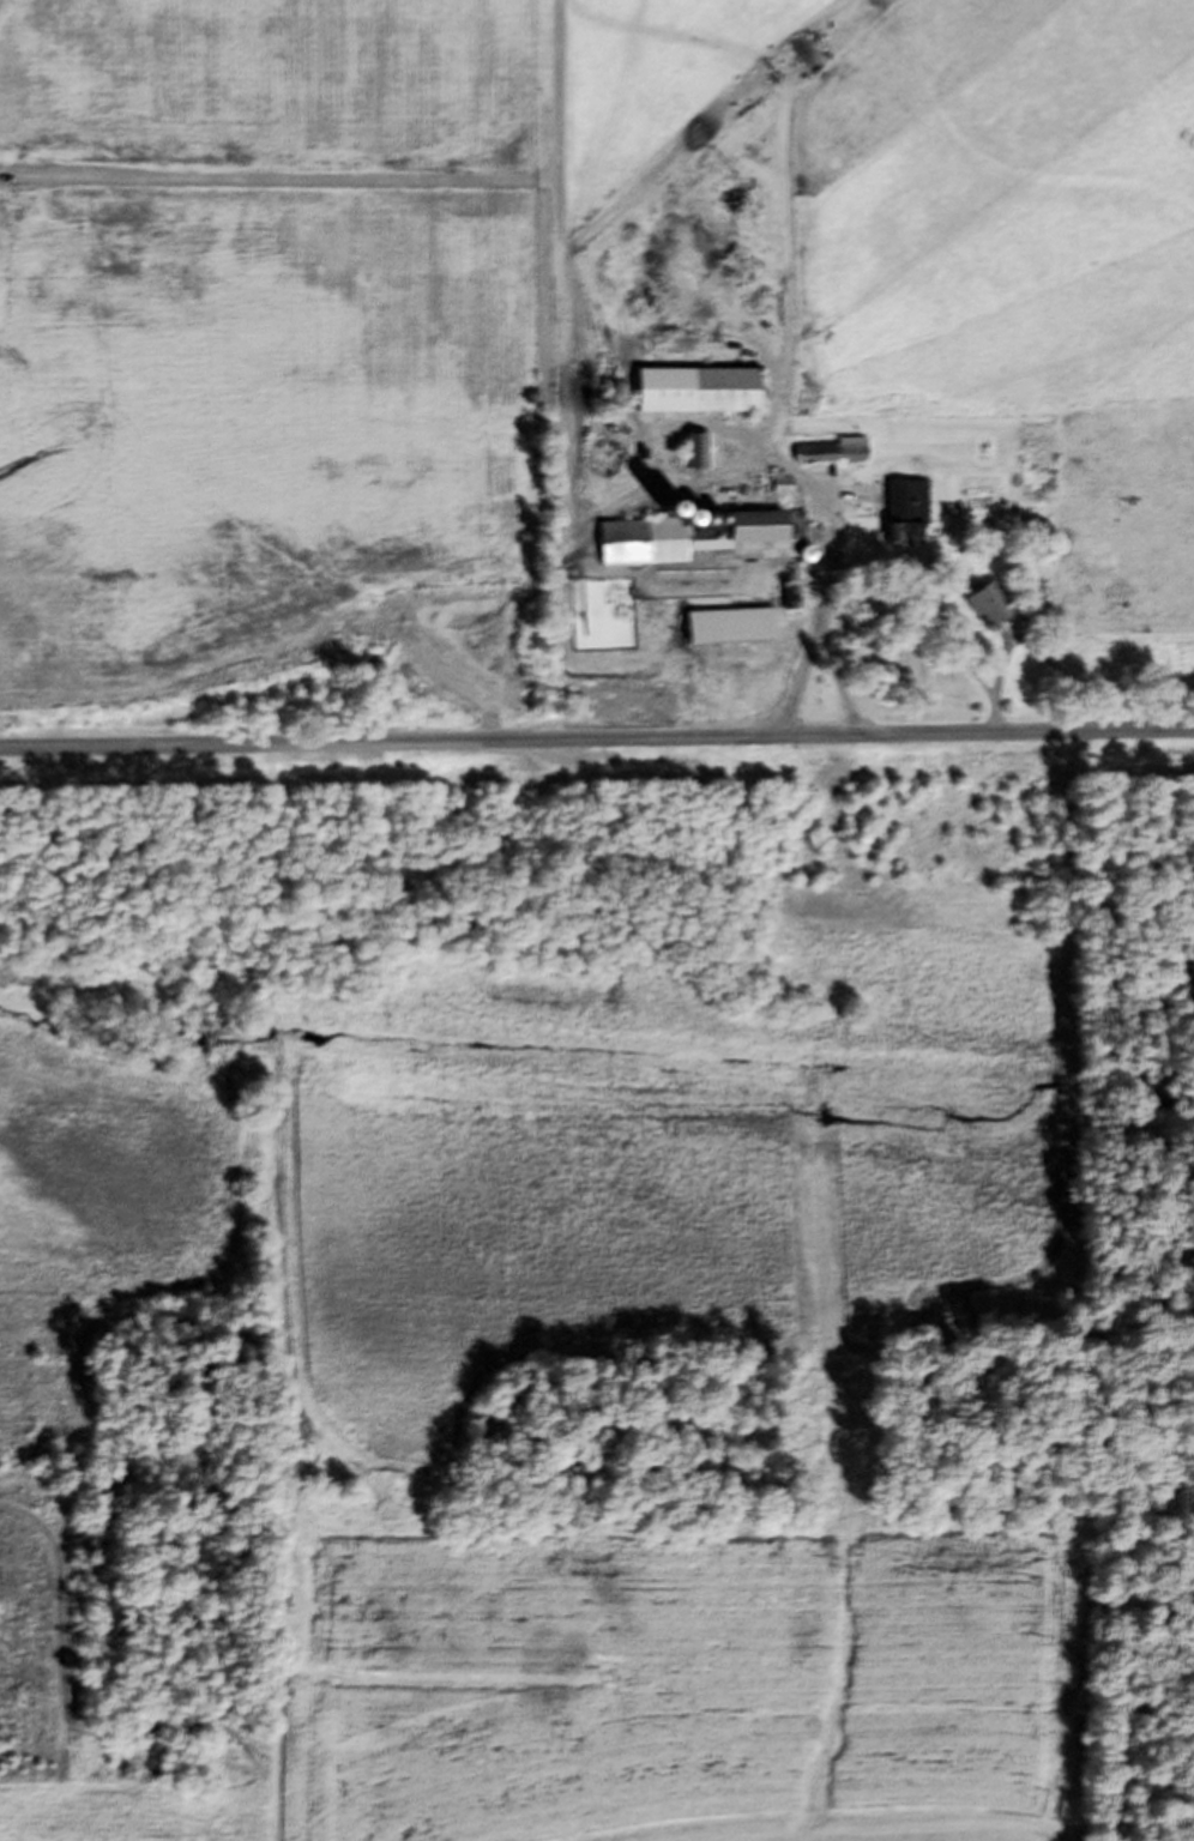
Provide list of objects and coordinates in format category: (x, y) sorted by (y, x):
road: (344, 185)
building: (693, 397)
building: (691, 458)
building: (825, 458)
building: (777, 489)
building: (903, 520)
building: (696, 545)
road: (825, 561)
building: (785, 604)
building: (984, 611)
building: (726, 633)
road: (796, 676)
road: (597, 740)

